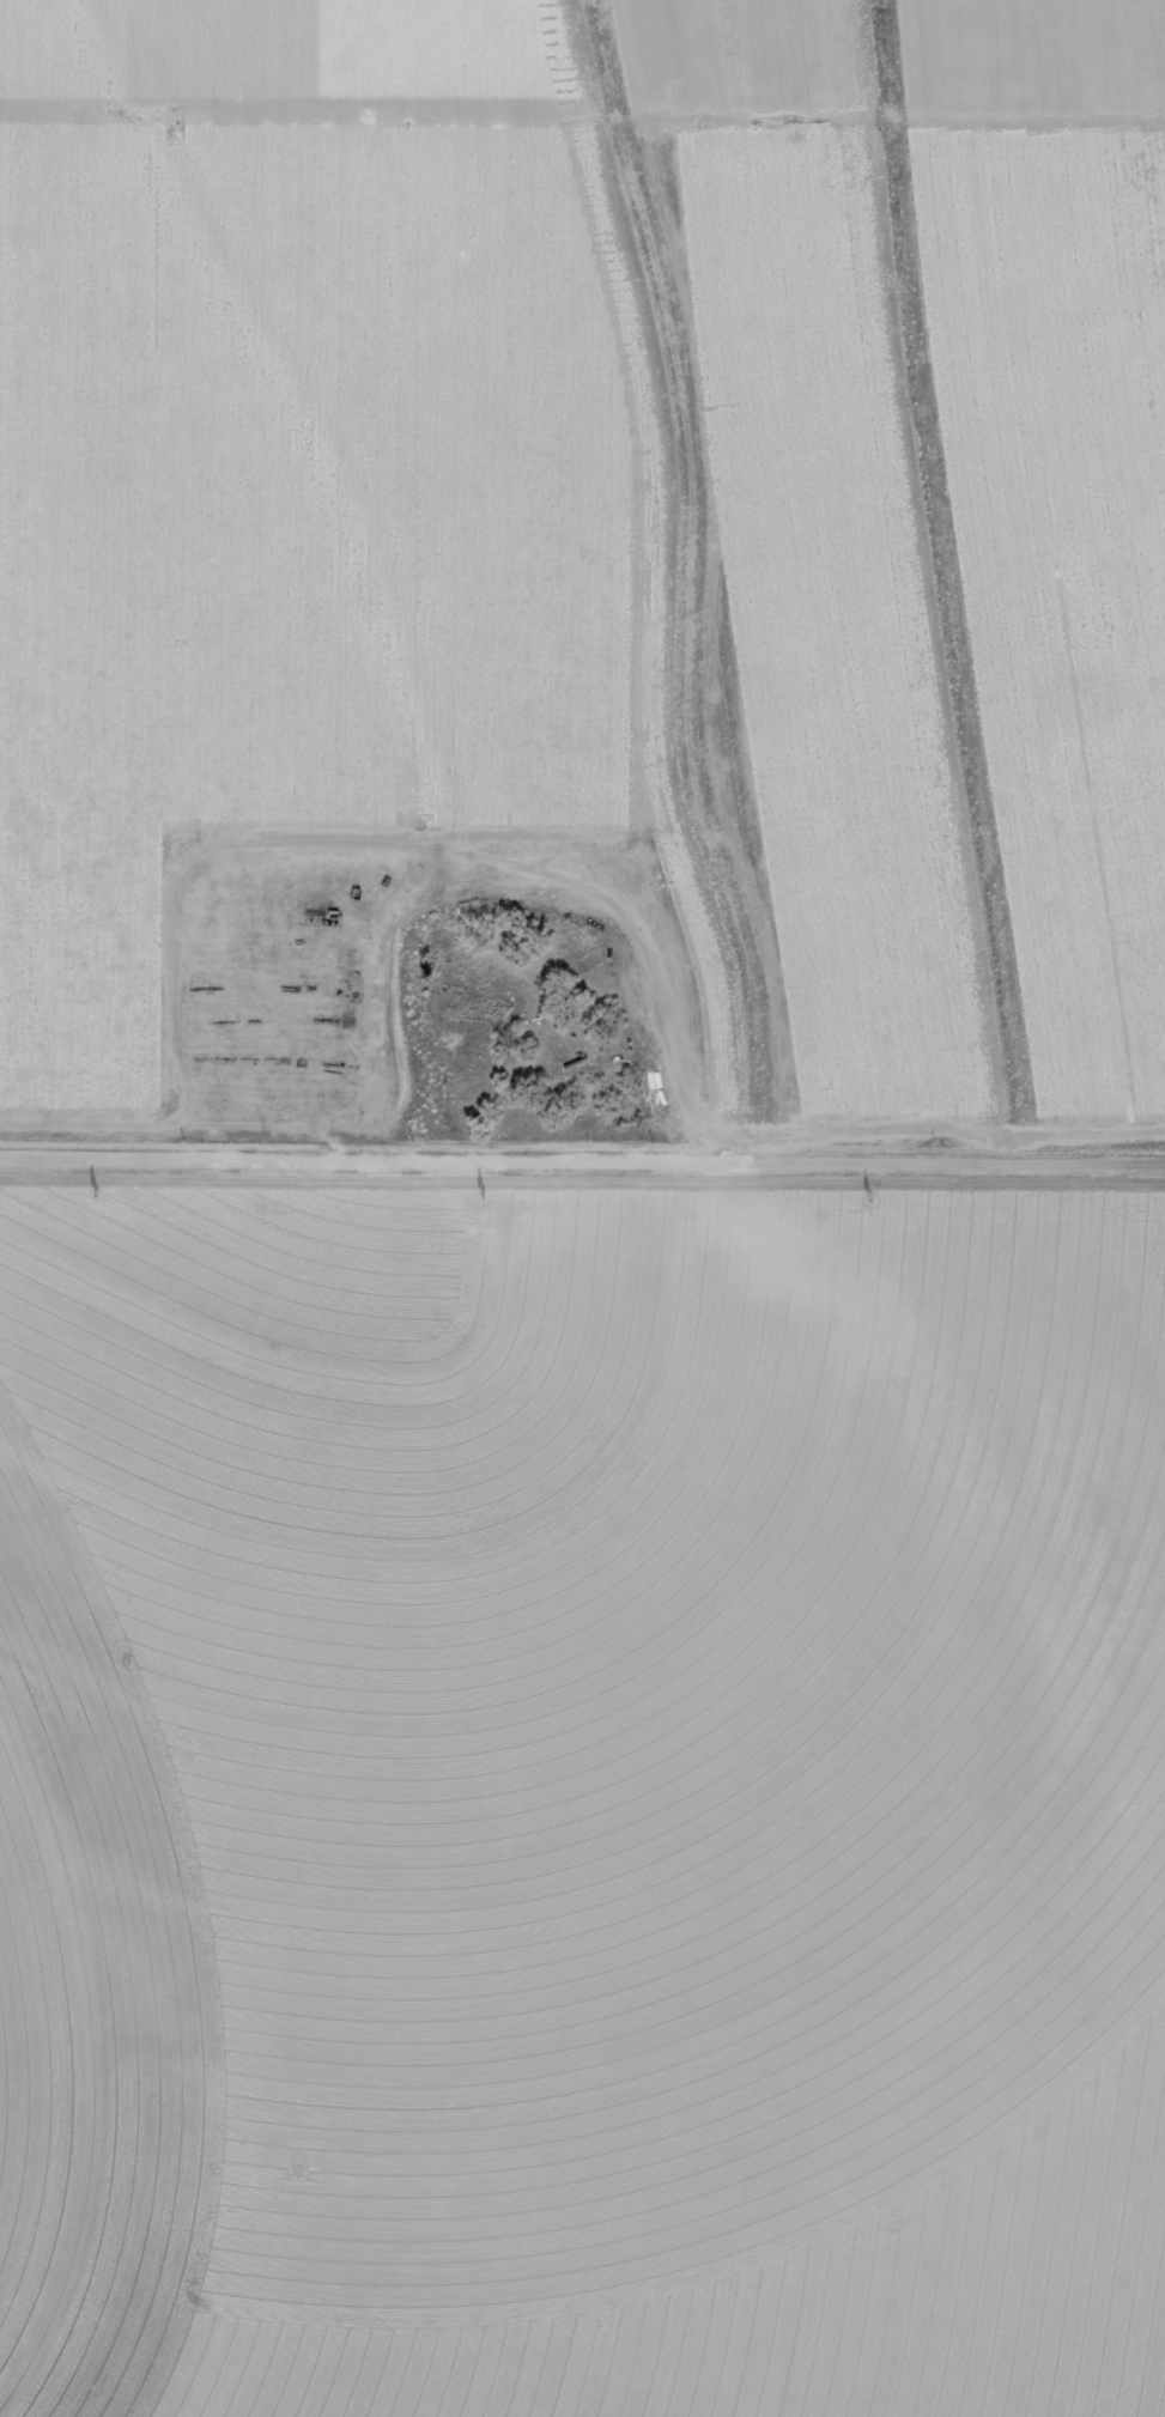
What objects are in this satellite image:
road: (582, 1168)
power tower: (91, 1191)
power tower: (478, 1191)
power tower: (863, 1192)

